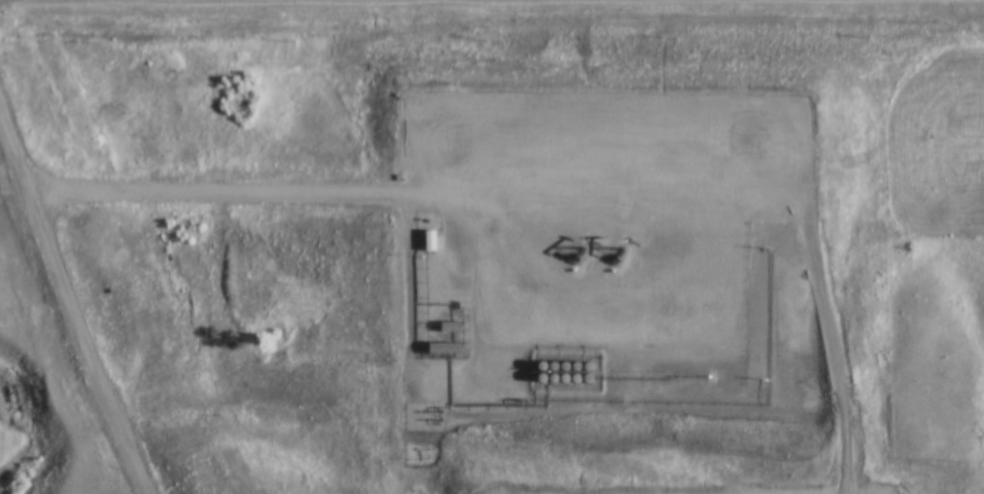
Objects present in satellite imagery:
road: (66, 310)

